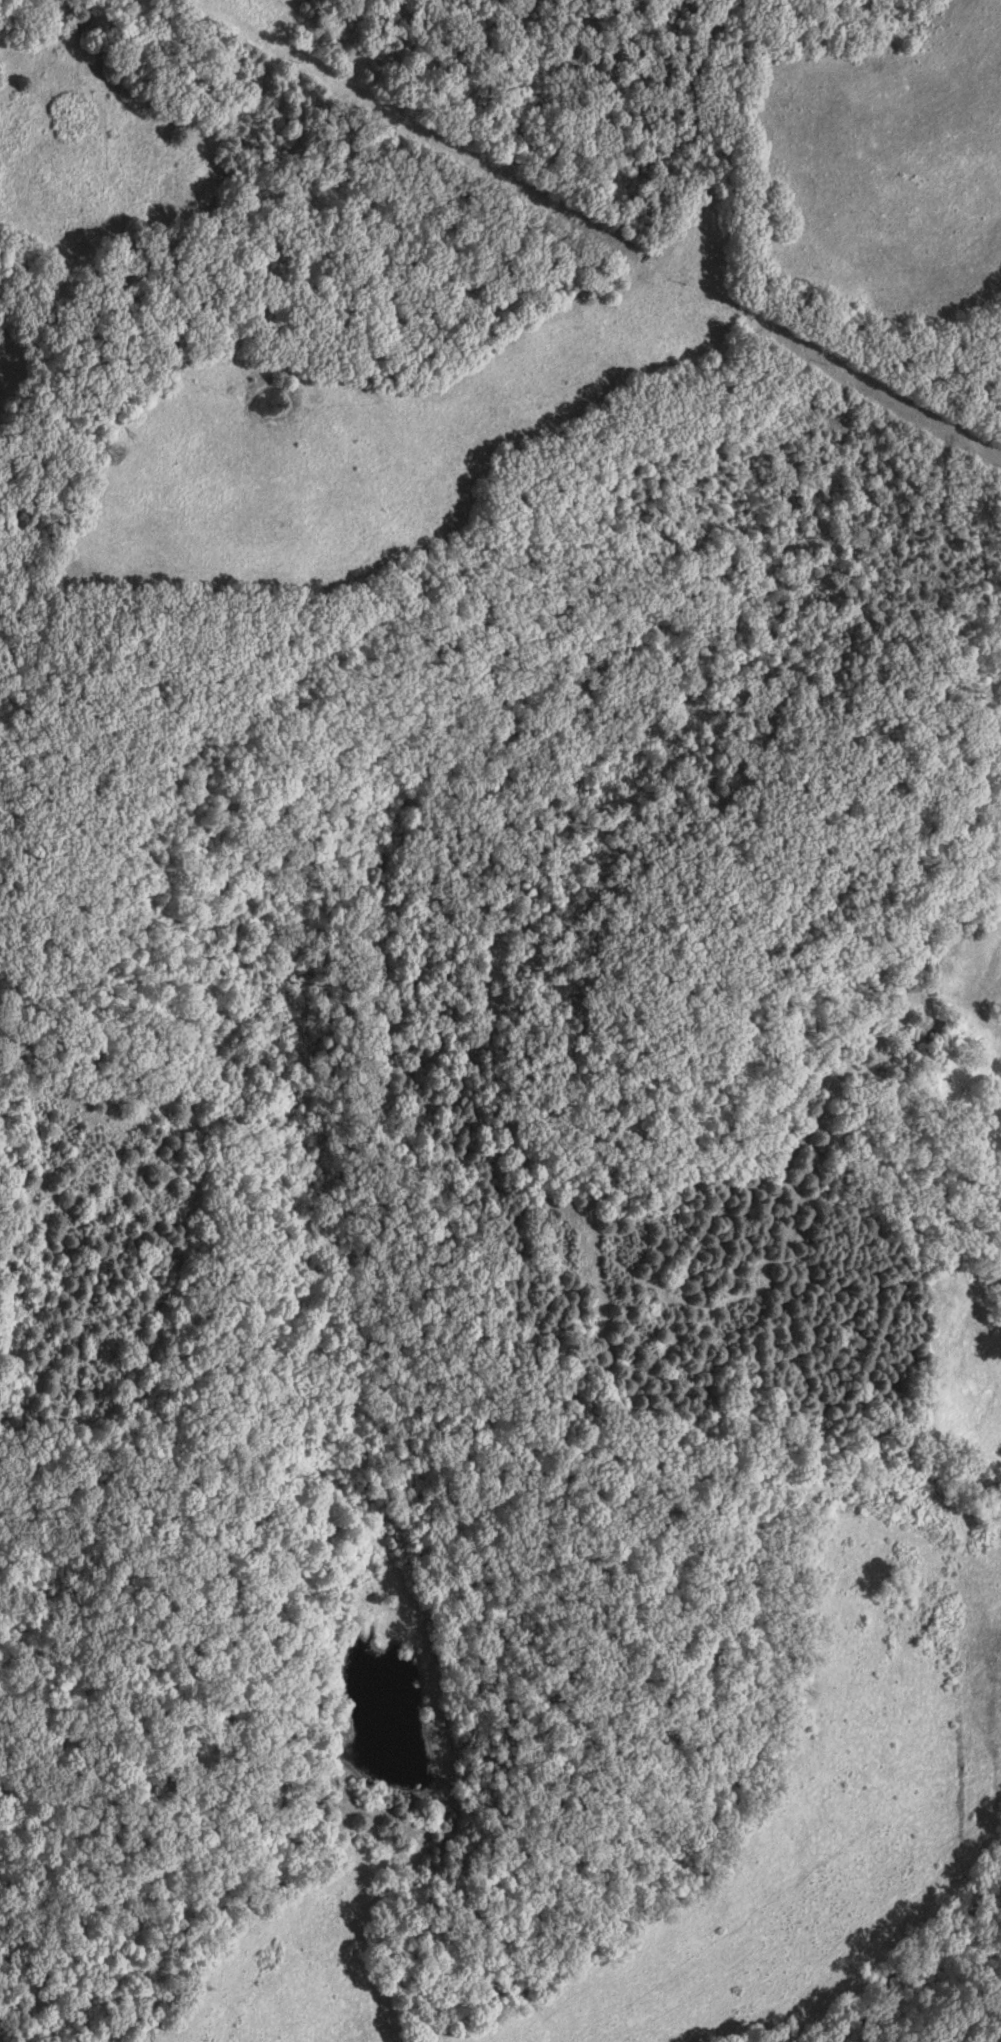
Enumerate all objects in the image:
road: (753, 57)
road: (990, 726)
road: (716, 894)

